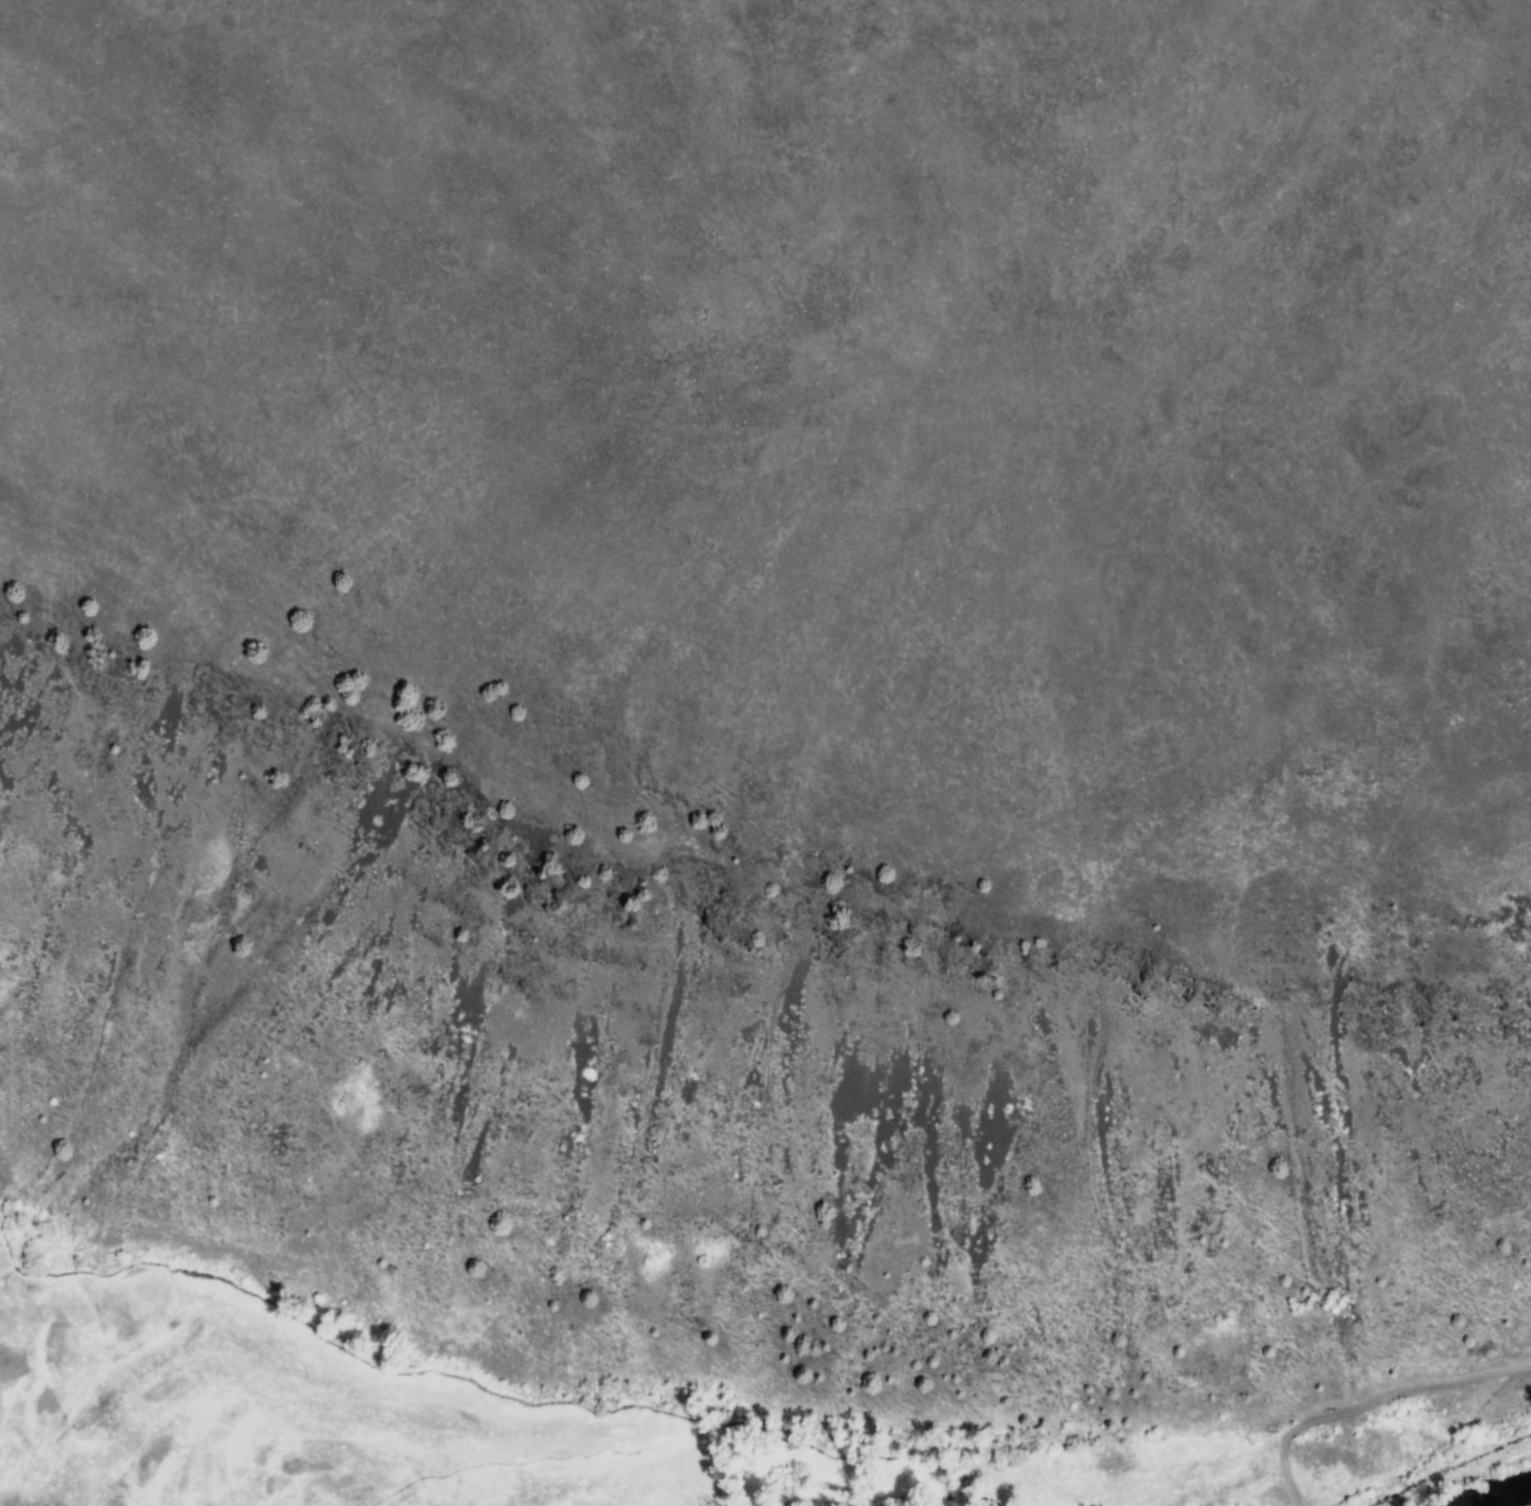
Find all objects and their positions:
river: (1498, 1494)

